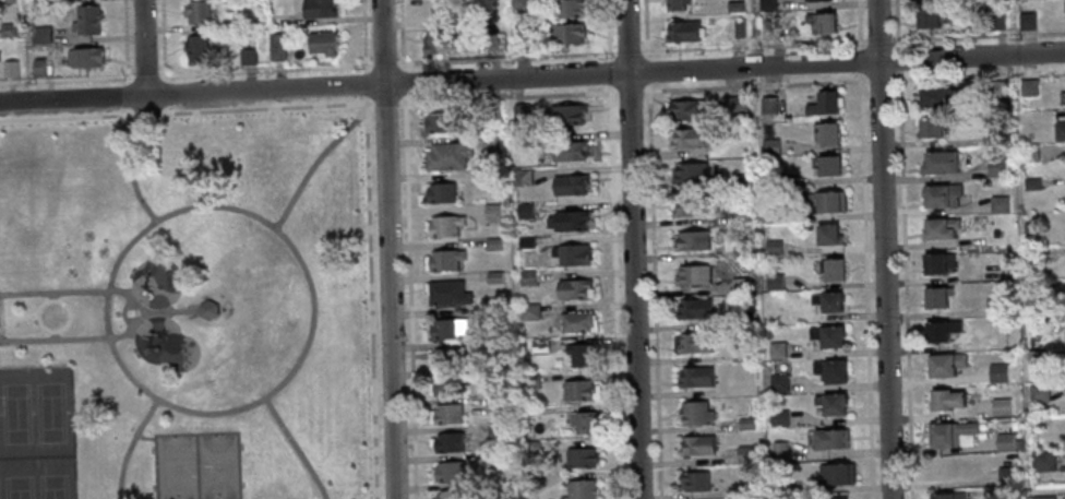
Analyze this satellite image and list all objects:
building: (812, 0)
building: (7, 1)
building: (37, 1)
building: (517, 4)
building: (673, 4)
building: (766, 4)
building: (1063, 5)
building: (733, 7)
building: (567, 8)
building: (318, 9)
building: (39, 10)
building: (433, 10)
building: (195, 11)
building: (926, 17)
building: (85, 20)
building: (1026, 21)
building: (821, 22)
building: (995, 22)
building: (738, 27)
building: (8, 29)
building: (683, 31)
building: (565, 33)
road: (364, 34)
building: (40, 35)
road: (402, 35)
building: (518, 36)
road: (164, 39)
road: (127, 40)
building: (322, 41)
building: (436, 41)
building: (490, 41)
building: (276, 47)
road: (143, 48)
building: (195, 49)
building: (84, 56)
building: (247, 56)
road: (383, 62)
road: (399, 62)
building: (9, 68)
building: (37, 68)
road: (265, 68)
road: (146, 74)
road: (67, 76)
road: (531, 78)
road: (366, 82)
road: (404, 82)
building: (1027, 87)
building: (996, 88)
road: (165, 92)
road: (129, 94)
building: (935, 96)
building: (1062, 97)
road: (402, 100)
road: (385, 102)
building: (733, 104)
building: (823, 104)
road: (265, 106)
building: (767, 106)
road: (166, 108)
building: (689, 110)
building: (519, 111)
road: (147, 112)
building: (491, 112)
building: (566, 112)
road: (68, 117)
building: (440, 123)
building: (930, 127)
building: (1058, 131)
building: (738, 132)
building: (825, 133)
building: (690, 138)
building: (996, 139)
building: (520, 141)
building: (490, 143)
building: (769, 146)
building: (567, 150)
building: (1029, 153)
building: (446, 155)
road: (315, 162)
building: (938, 162)
building: (826, 165)
road: (130, 166)
building: (996, 167)
building: (689, 173)
building: (522, 177)
building: (770, 181)
building: (739, 182)
building: (569, 183)
building: (1030, 183)
building: (439, 192)
building: (940, 194)
building: (828, 202)
building: (997, 205)
road: (205, 206)
building: (690, 206)
building: (524, 211)
building: (491, 213)
building: (770, 214)
building: (741, 215)
building: (567, 221)
building: (443, 225)
building: (938, 227)
building: (826, 234)
building: (691, 240)
building: (525, 241)
building: (492, 245)
building: (773, 248)
road: (387, 249)
road: (614, 249)
road: (632, 249)
road: (653, 249)
road: (883, 249)
building: (741, 252)
building: (571, 254)
building: (444, 260)
building: (936, 263)
building: (830, 269)
building: (692, 274)
building: (493, 276)
building: (526, 277)
building: (774, 282)
building: (738, 285)
building: (572, 288)
road: (902, 288)
building: (1032, 290)
building: (446, 293)
road: (52, 295)
building: (935, 296)
road: (370, 297)
road: (410, 297)
building: (827, 300)
building: (994, 306)
park: (184, 307)
building: (693, 309)
building: (210, 310)
road: (124, 311)
road: (172, 311)
building: (528, 311)
road: (143, 312)
building: (744, 318)
building: (575, 321)
building: (447, 328)
building: (940, 330)
road: (53, 335)
building: (827, 335)
building: (694, 342)
building: (539, 347)
building: (776, 351)
building: (578, 354)
building: (738, 355)
building: (445, 358)
building: (1034, 358)
building: (944, 364)
building: (829, 370)
building: (996, 372)
building: (694, 377)
building: (529, 382)
building: (778, 383)
building: (445, 385)
building: (579, 390)
building: (1038, 392)
building: (944, 399)
building: (830, 403)
building: (494, 404)
building: (1000, 406)
building: (446, 413)
building: (694, 413)
building: (530, 415)
building: (778, 417)
building: (583, 421)
building: (1038, 423)
building: (745, 424)
building: (495, 431)
building: (950, 433)
park: (37, 435)
road: (144, 438)
building: (829, 438)
building: (1003, 441)
building: (447, 442)
building: (1017, 444)
road: (131, 445)
building: (696, 445)
building: (530, 447)
road: (297, 448)
building: (777, 452)
building: (743, 454)
building: (579, 458)
building: (495, 461)
building: (1041, 461)
park: (198, 465)
building: (945, 467)
building: (447, 471)
building: (833, 474)
building: (1005, 475)
building: (530, 482)
building: (693, 482)
building: (782, 485)
building: (747, 488)
building: (581, 489)
building: (450, 494)
building: (946, 496)
building: (1042, 497)
building: (837, 498)

